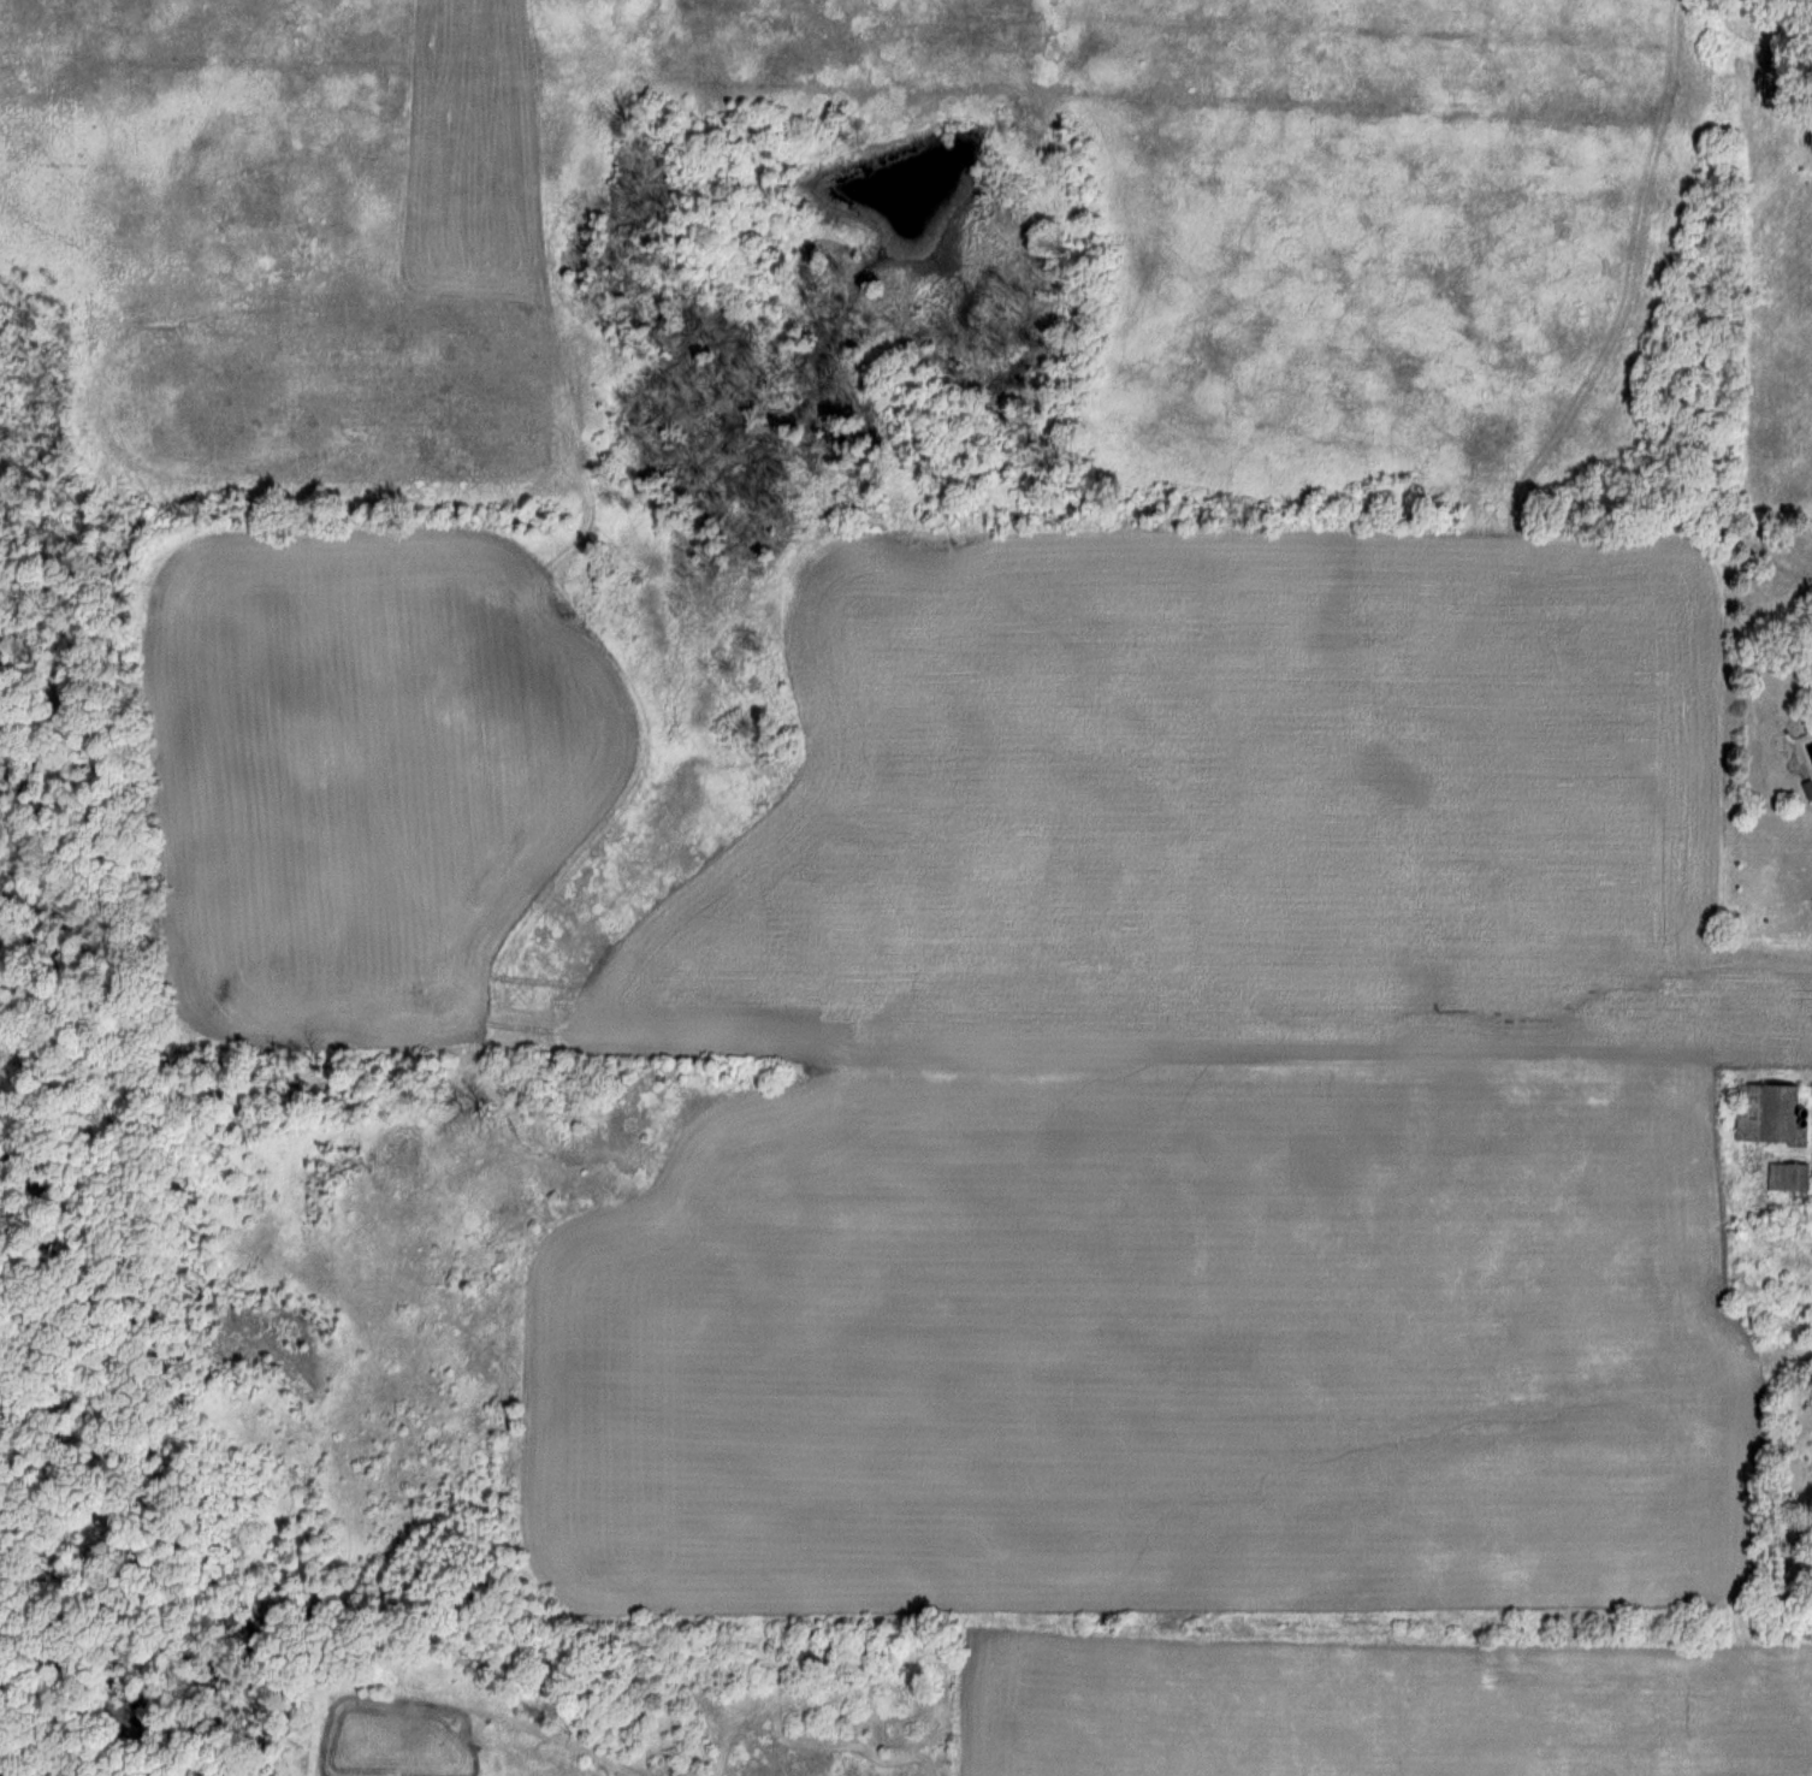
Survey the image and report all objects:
building: (1808, 132)
building: (1763, 1113)
building: (1786, 1180)

